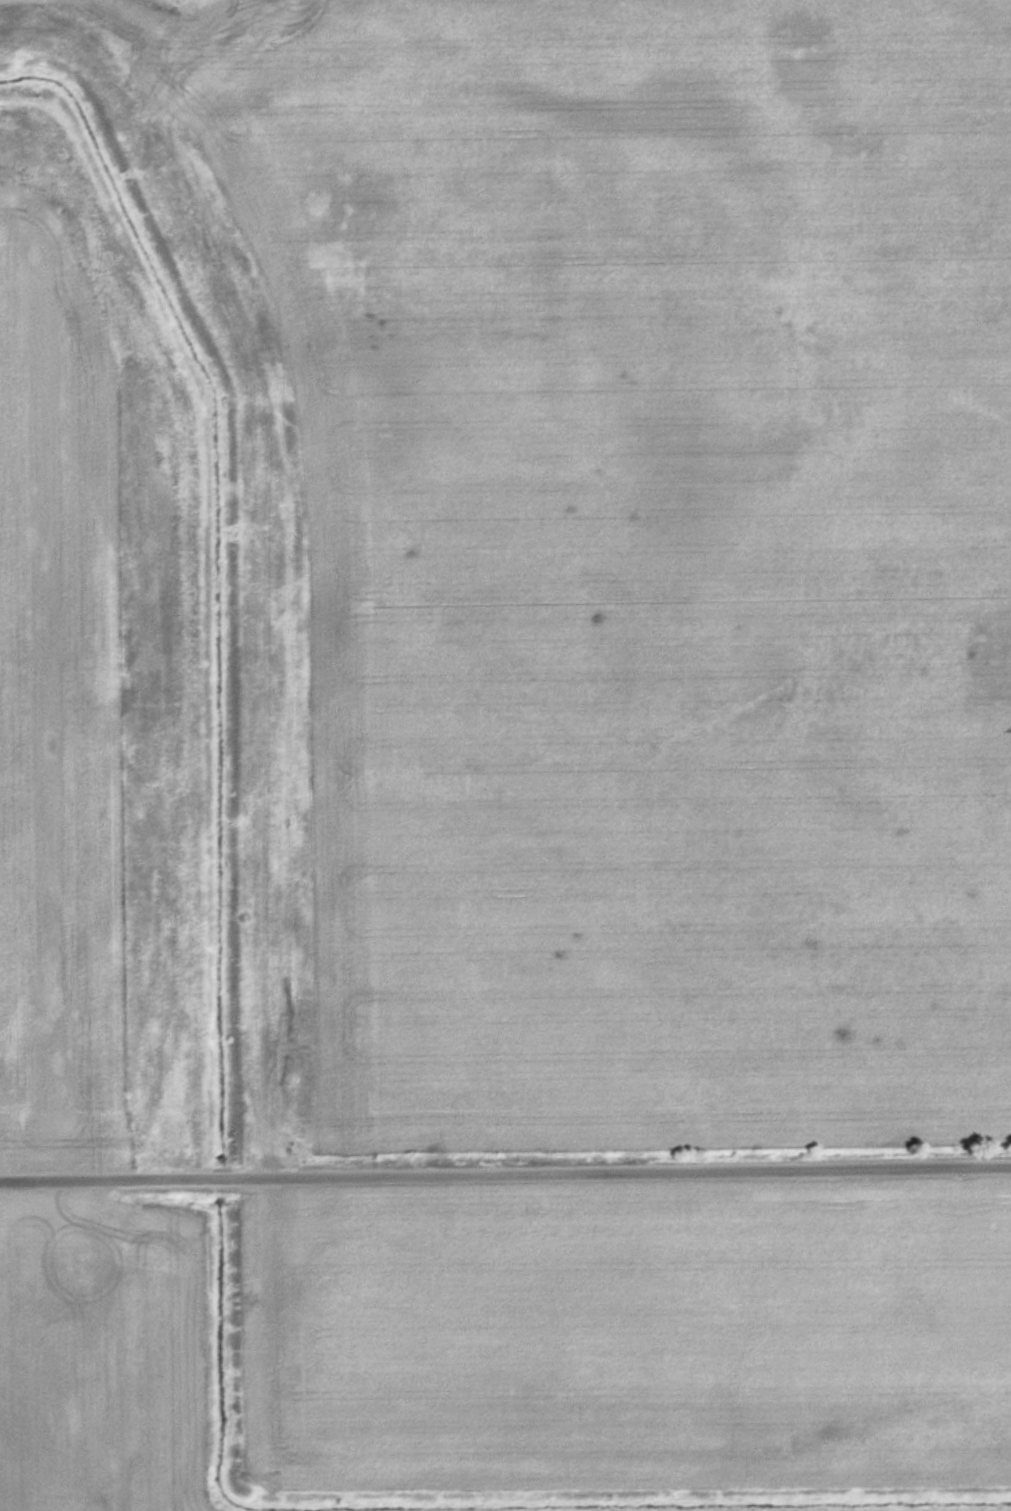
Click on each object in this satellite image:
road: (505, 1178)

